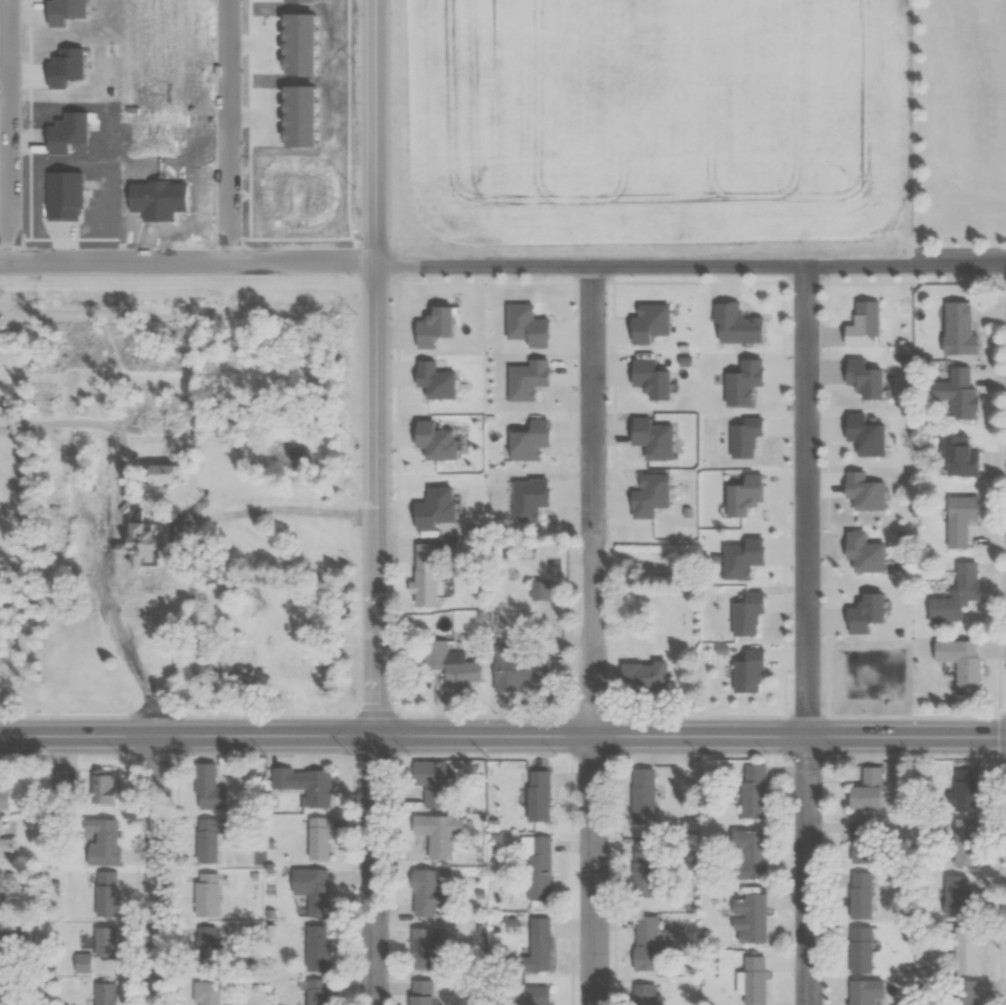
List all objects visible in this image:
park: (984, 41)
road: (8, 128)
road: (954, 239)
road: (453, 258)
road: (956, 259)
road: (226, 291)
building: (957, 328)
road: (374, 368)
building: (957, 394)
road: (65, 429)
building: (725, 432)
building: (959, 456)
building: (115, 462)
road: (592, 468)
road: (805, 498)
road: (240, 514)
building: (958, 520)
building: (252, 536)
building: (429, 575)
building: (541, 590)
building: (955, 595)
building: (719, 607)
road: (115, 641)
building: (245, 656)
building: (457, 664)
building: (959, 664)
building: (292, 665)
building: (525, 670)
building: (648, 677)
road: (264, 716)
road: (77, 717)
road: (484, 717)
road: (906, 717)
road: (700, 718)
road: (502, 738)
building: (438, 785)
building: (309, 786)
building: (214, 790)
building: (864, 790)
building: (963, 790)
building: (109, 791)
building: (758, 791)
building: (8, 793)
building: (648, 795)
building: (543, 796)
building: (440, 835)
building: (5, 838)
building: (215, 838)
building: (322, 838)
road: (592, 841)
building: (864, 842)
building: (963, 842)
building: (108, 844)
building: (760, 855)
building: (649, 866)
building: (538, 868)
road: (155, 870)
road: (373, 871)
road: (808, 871)
building: (1, 881)
building: (317, 890)
building: (434, 893)
building: (110, 894)
building: (211, 895)
building: (858, 895)
building: (952, 896)
building: (749, 920)
building: (211, 938)
building: (652, 939)
building: (109, 942)
building: (8, 948)
building: (321, 948)
building: (426, 948)
building: (543, 948)
building: (963, 949)
building: (859, 950)
building: (85, 963)
building: (757, 980)
building: (863, 991)
building: (1, 992)
building: (320, 992)
building: (426, 992)
building: (962, 992)
building: (211, 993)
building: (110, 994)

